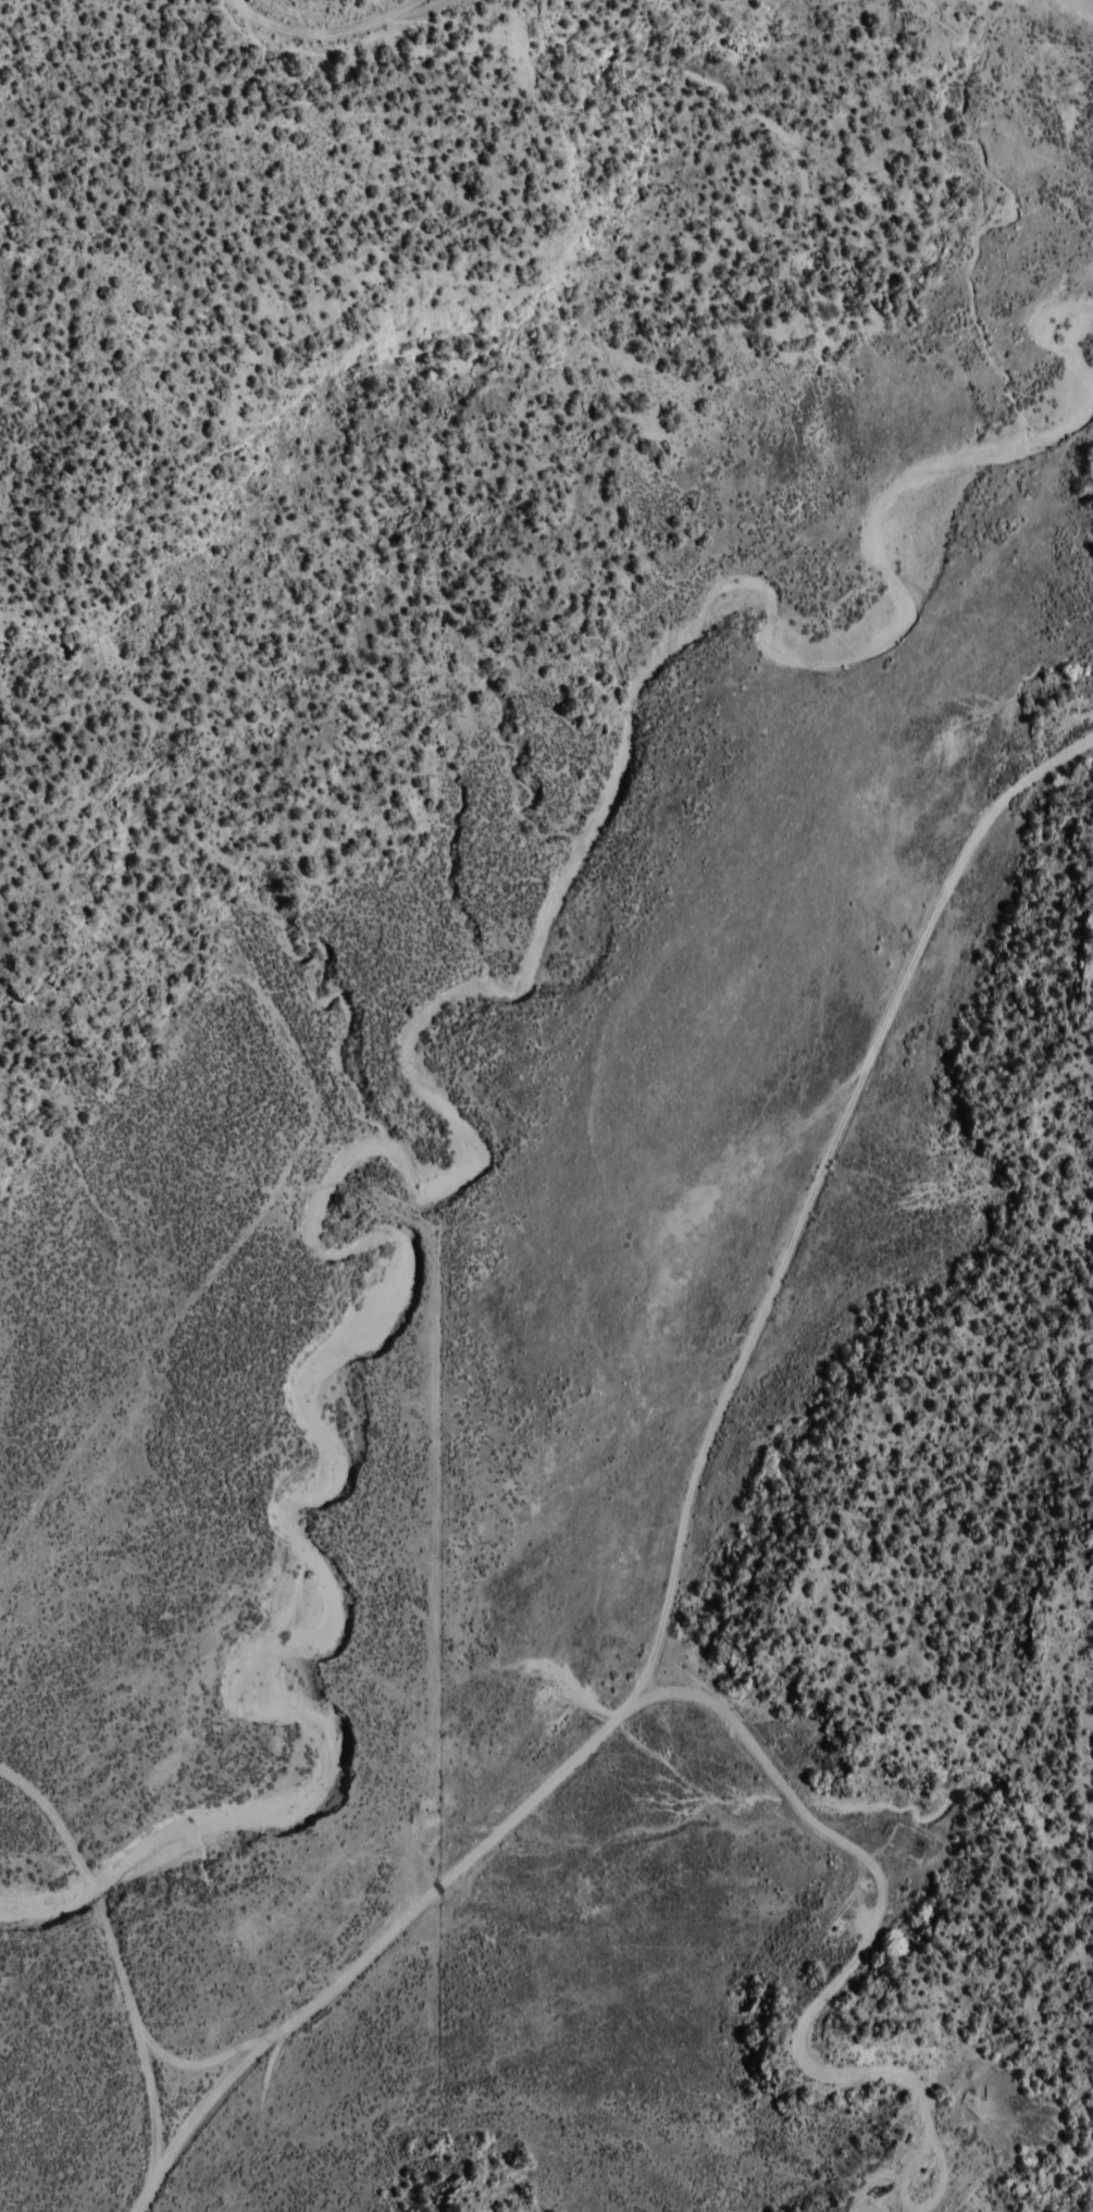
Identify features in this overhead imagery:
road: (323, 20)
road: (708, 1484)
road: (668, 1735)
road: (752, 1822)
road: (149, 1955)
road: (231, 2051)

